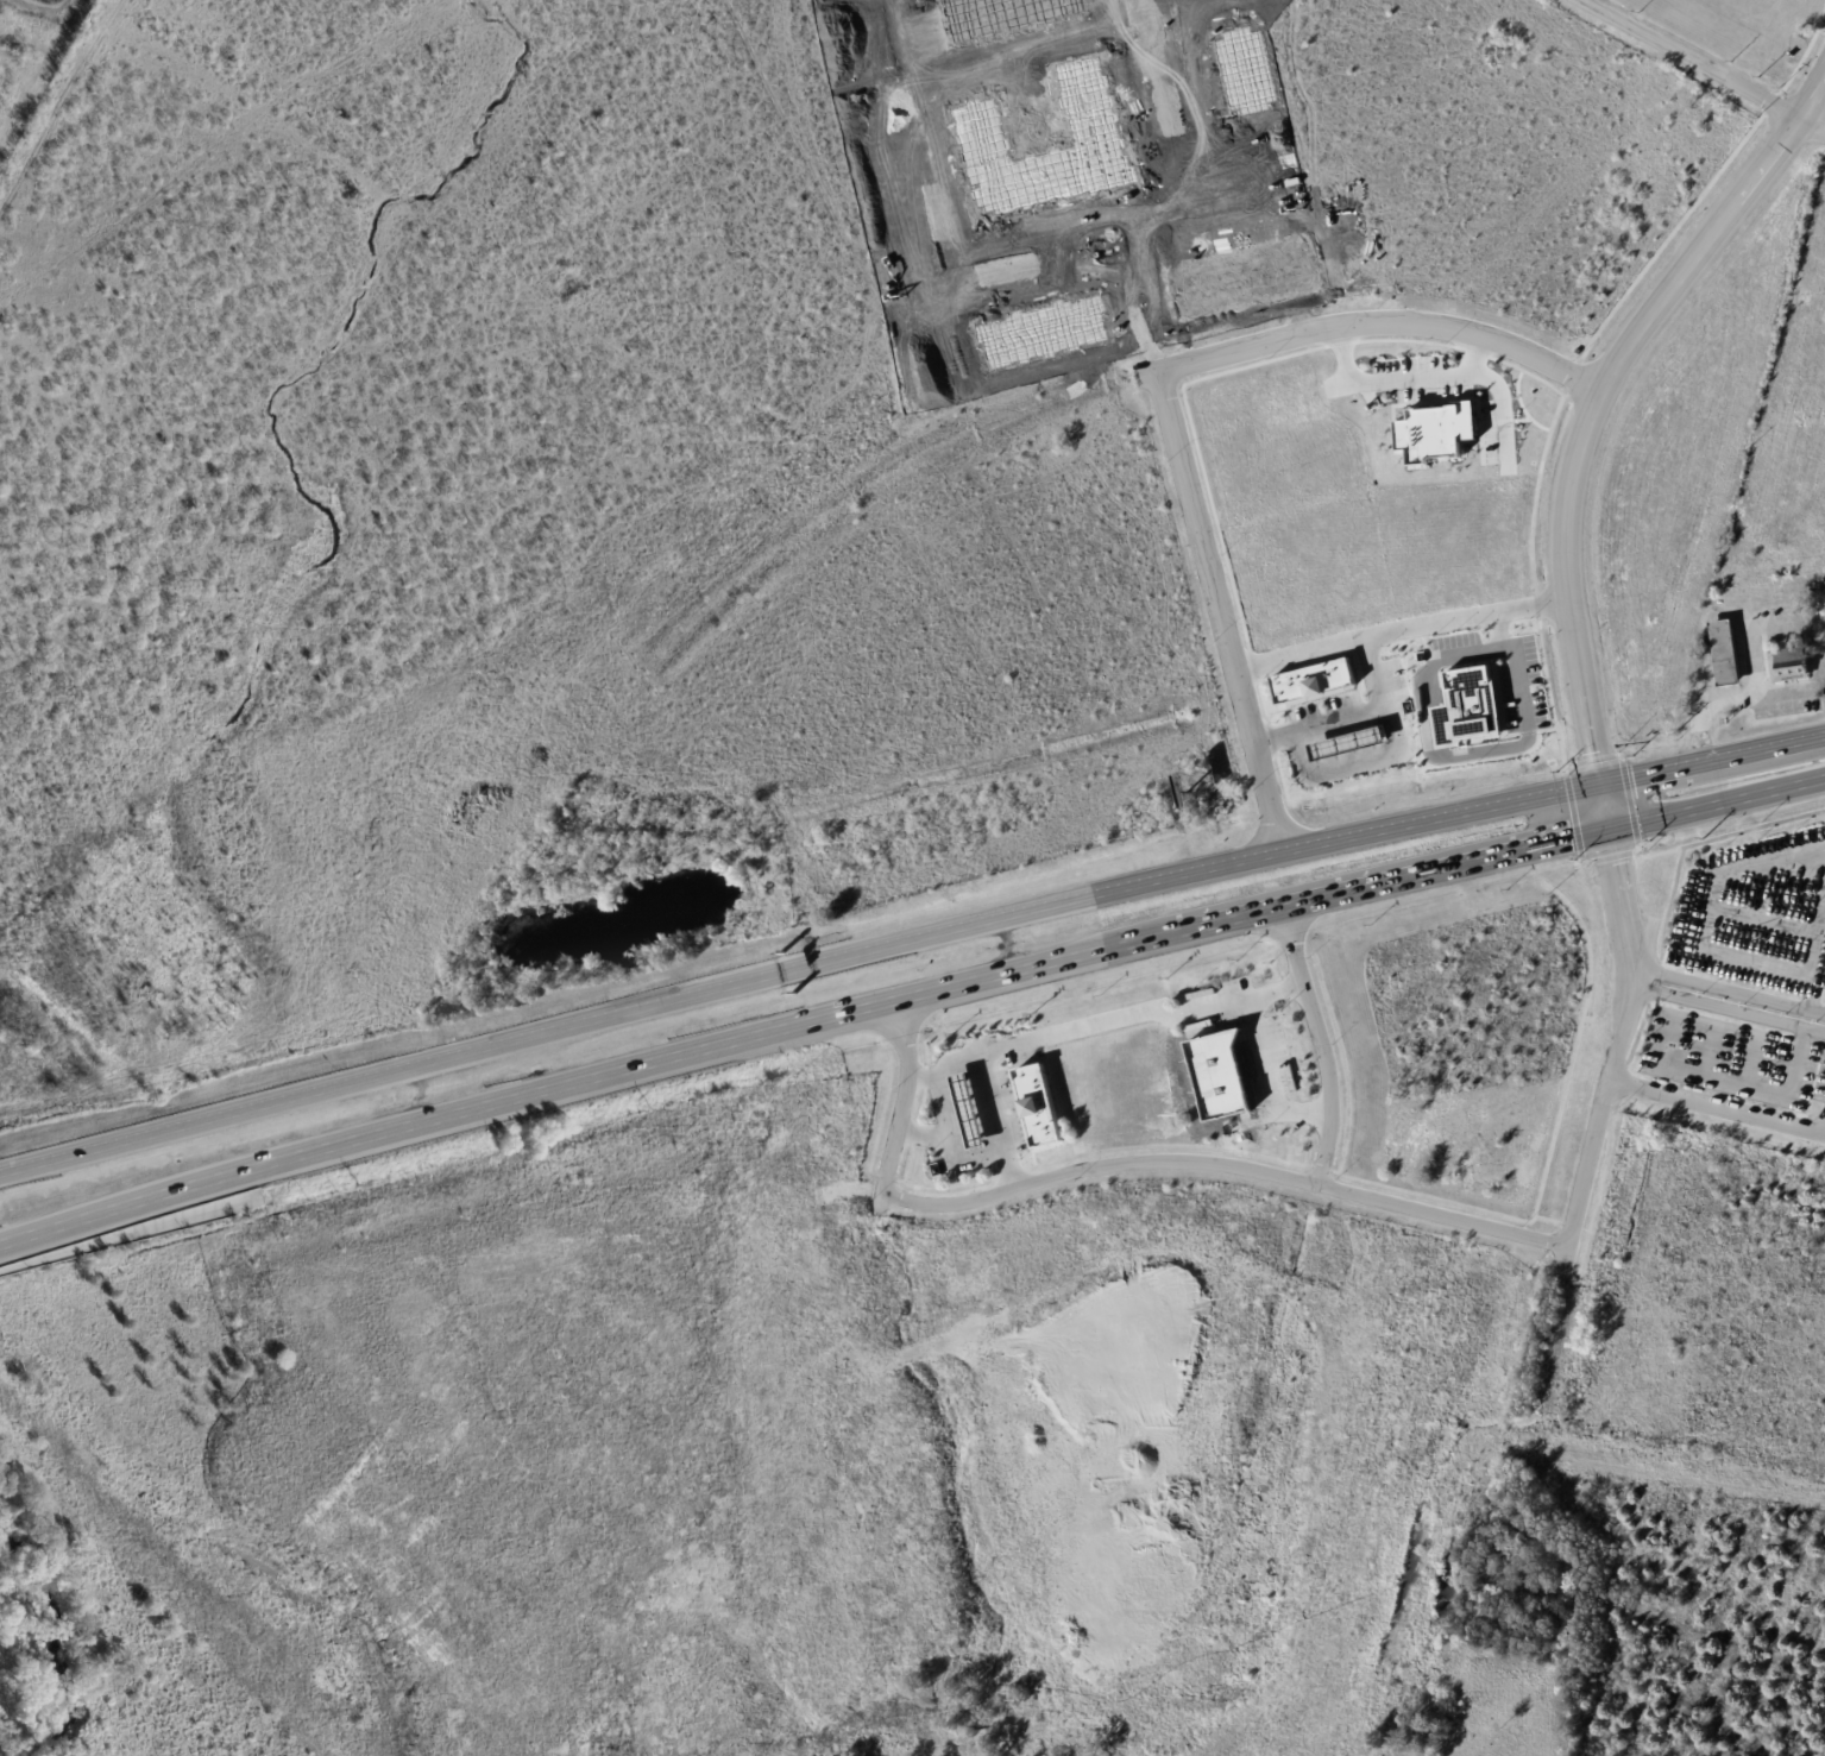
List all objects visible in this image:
road: (1688, 57)
road: (1370, 320)
road: (1403, 384)
road: (1593, 394)
road: (1505, 415)
building: (1443, 440)
road: (1217, 609)
road: (1398, 629)
building: (1722, 652)
building: (1787, 662)
building: (1319, 688)
road: (1739, 697)
road: (1347, 717)
building: (1475, 717)
building: (1345, 743)
building: (1353, 750)
road: (1713, 755)
road: (1461, 763)
traffic signals: (1601, 779)
road: (1718, 803)
road: (1606, 804)
road: (1441, 813)
traffic signals: (1612, 829)
road: (1447, 866)
road: (1775, 880)
road: (1699, 907)
road: (1818, 939)
parking lot: (1748, 996)
road: (1730, 1002)
road: (640, 1006)
road: (858, 1009)
road: (1103, 1022)
road: (1320, 1043)
road: (1619, 1047)
road: (1714, 1047)
road: (1756, 1058)
road: (1267, 1082)
building: (1225, 1083)
road: (1741, 1083)
road: (902, 1097)
road: (1718, 1107)
building: (1045, 1114)
building: (975, 1118)
gas station: (975, 1118)
road: (995, 1120)
road: (920, 1138)
road: (948, 1144)
road: (1225, 1165)
road: (218, 1178)
road: (1695, 1468)
building: (1597, 1504)

